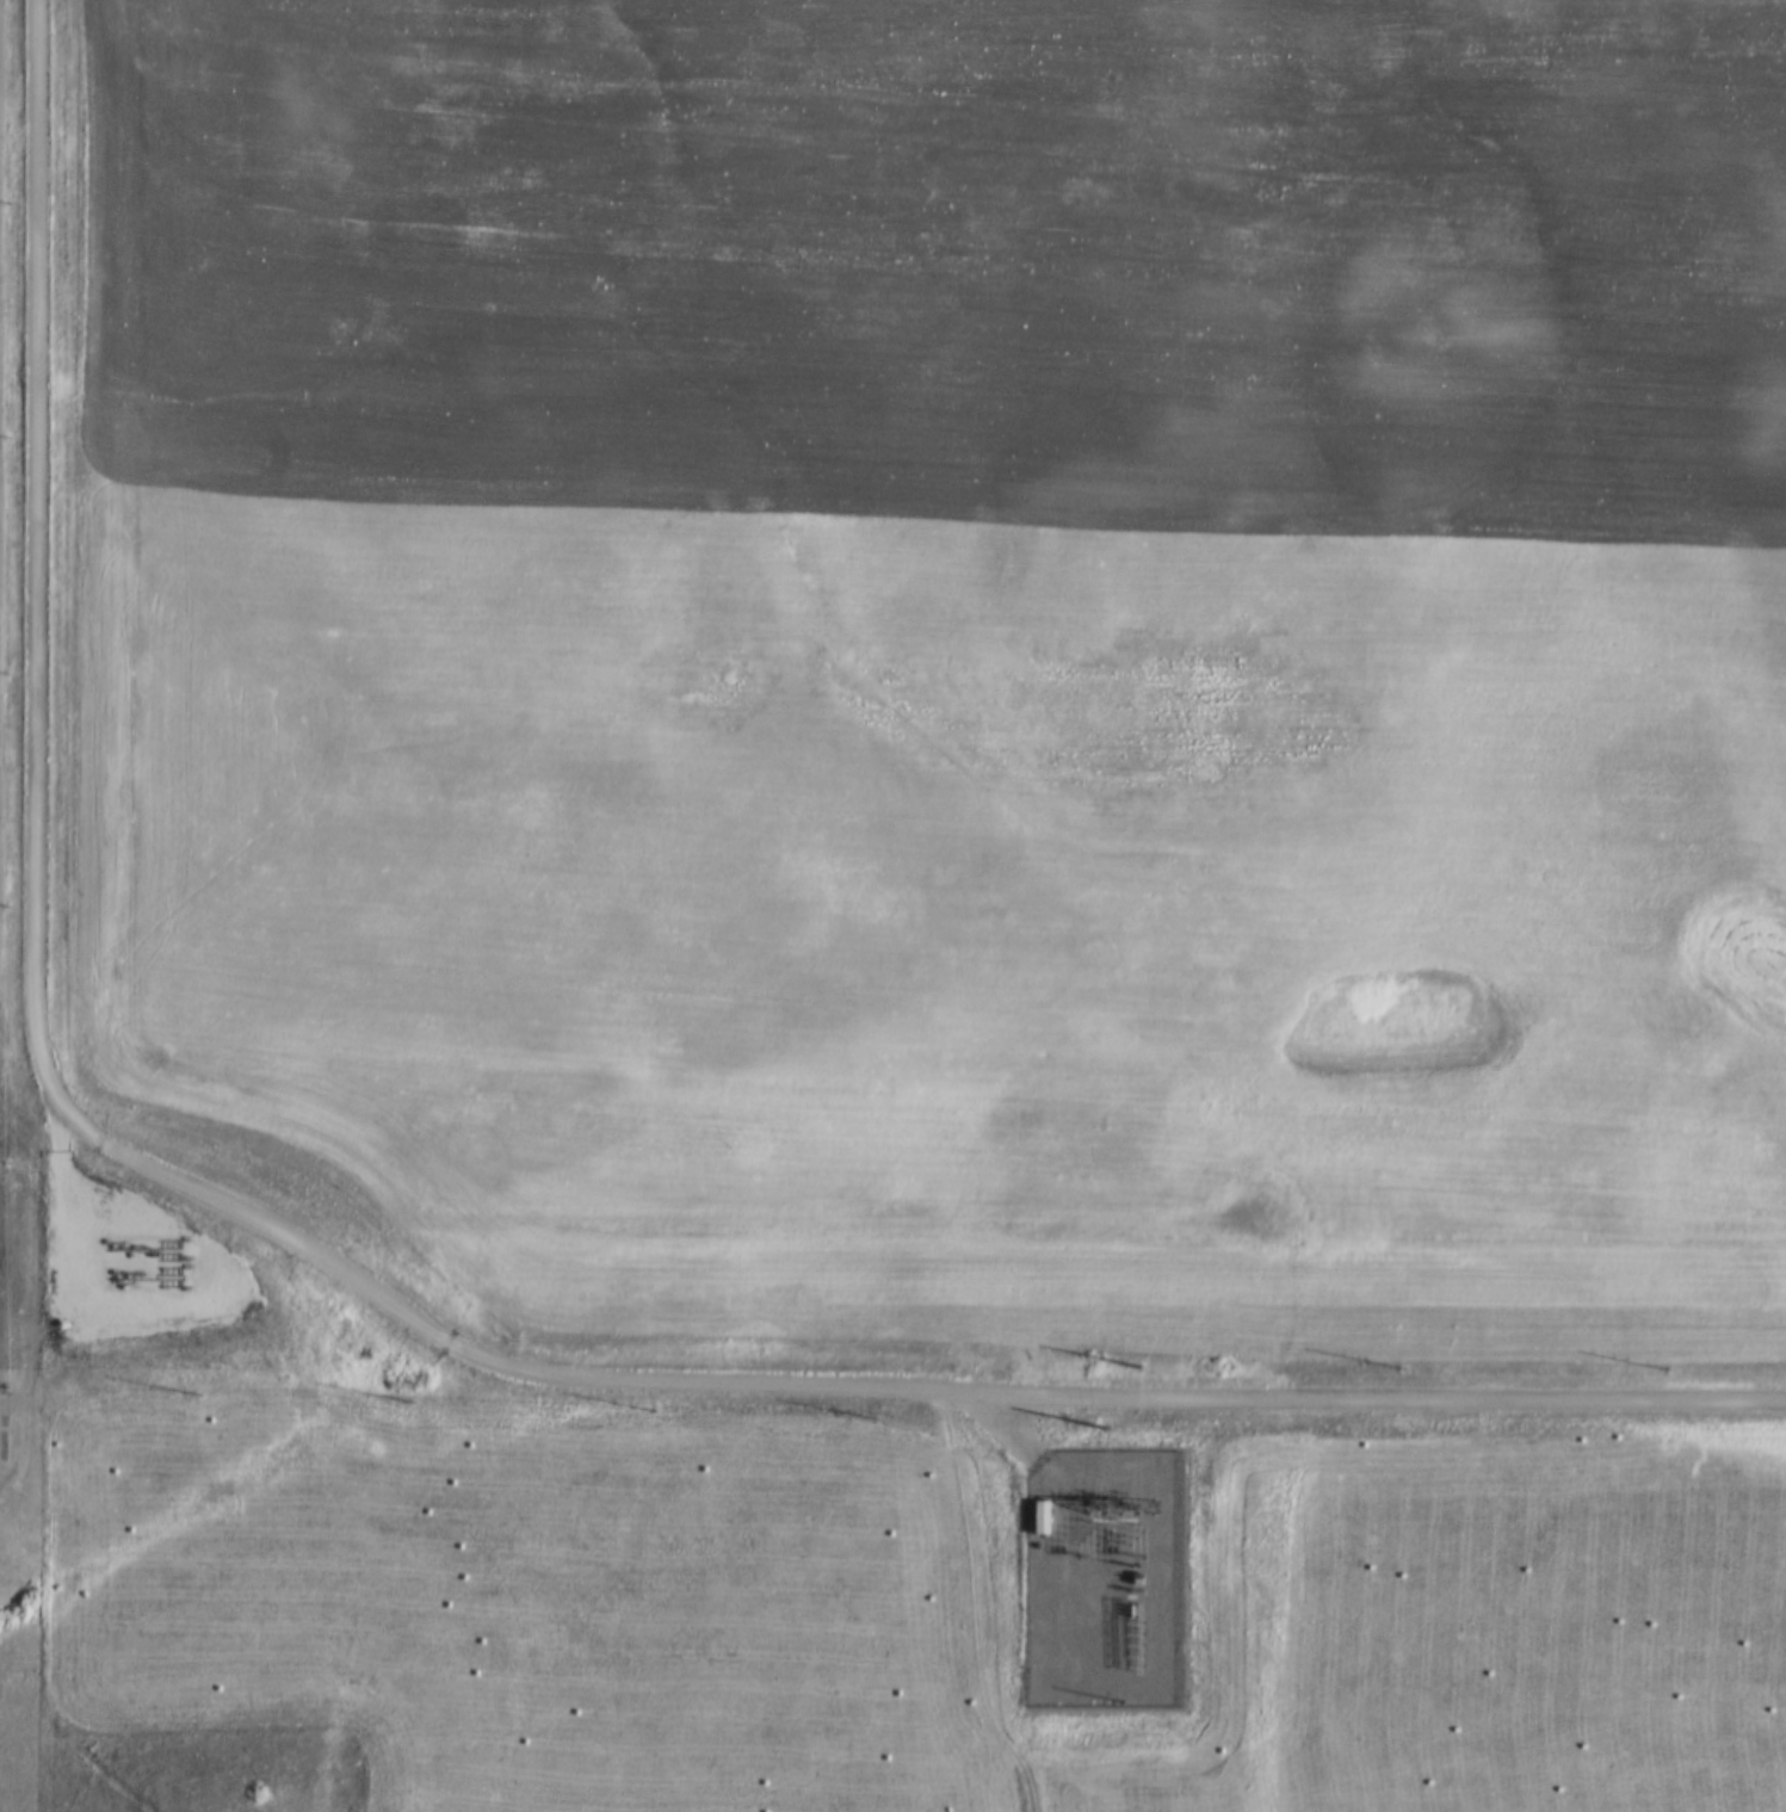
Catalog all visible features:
road: (43, 1205)
road: (367, 1257)
road: (1077, 1486)
building: (1034, 1520)

